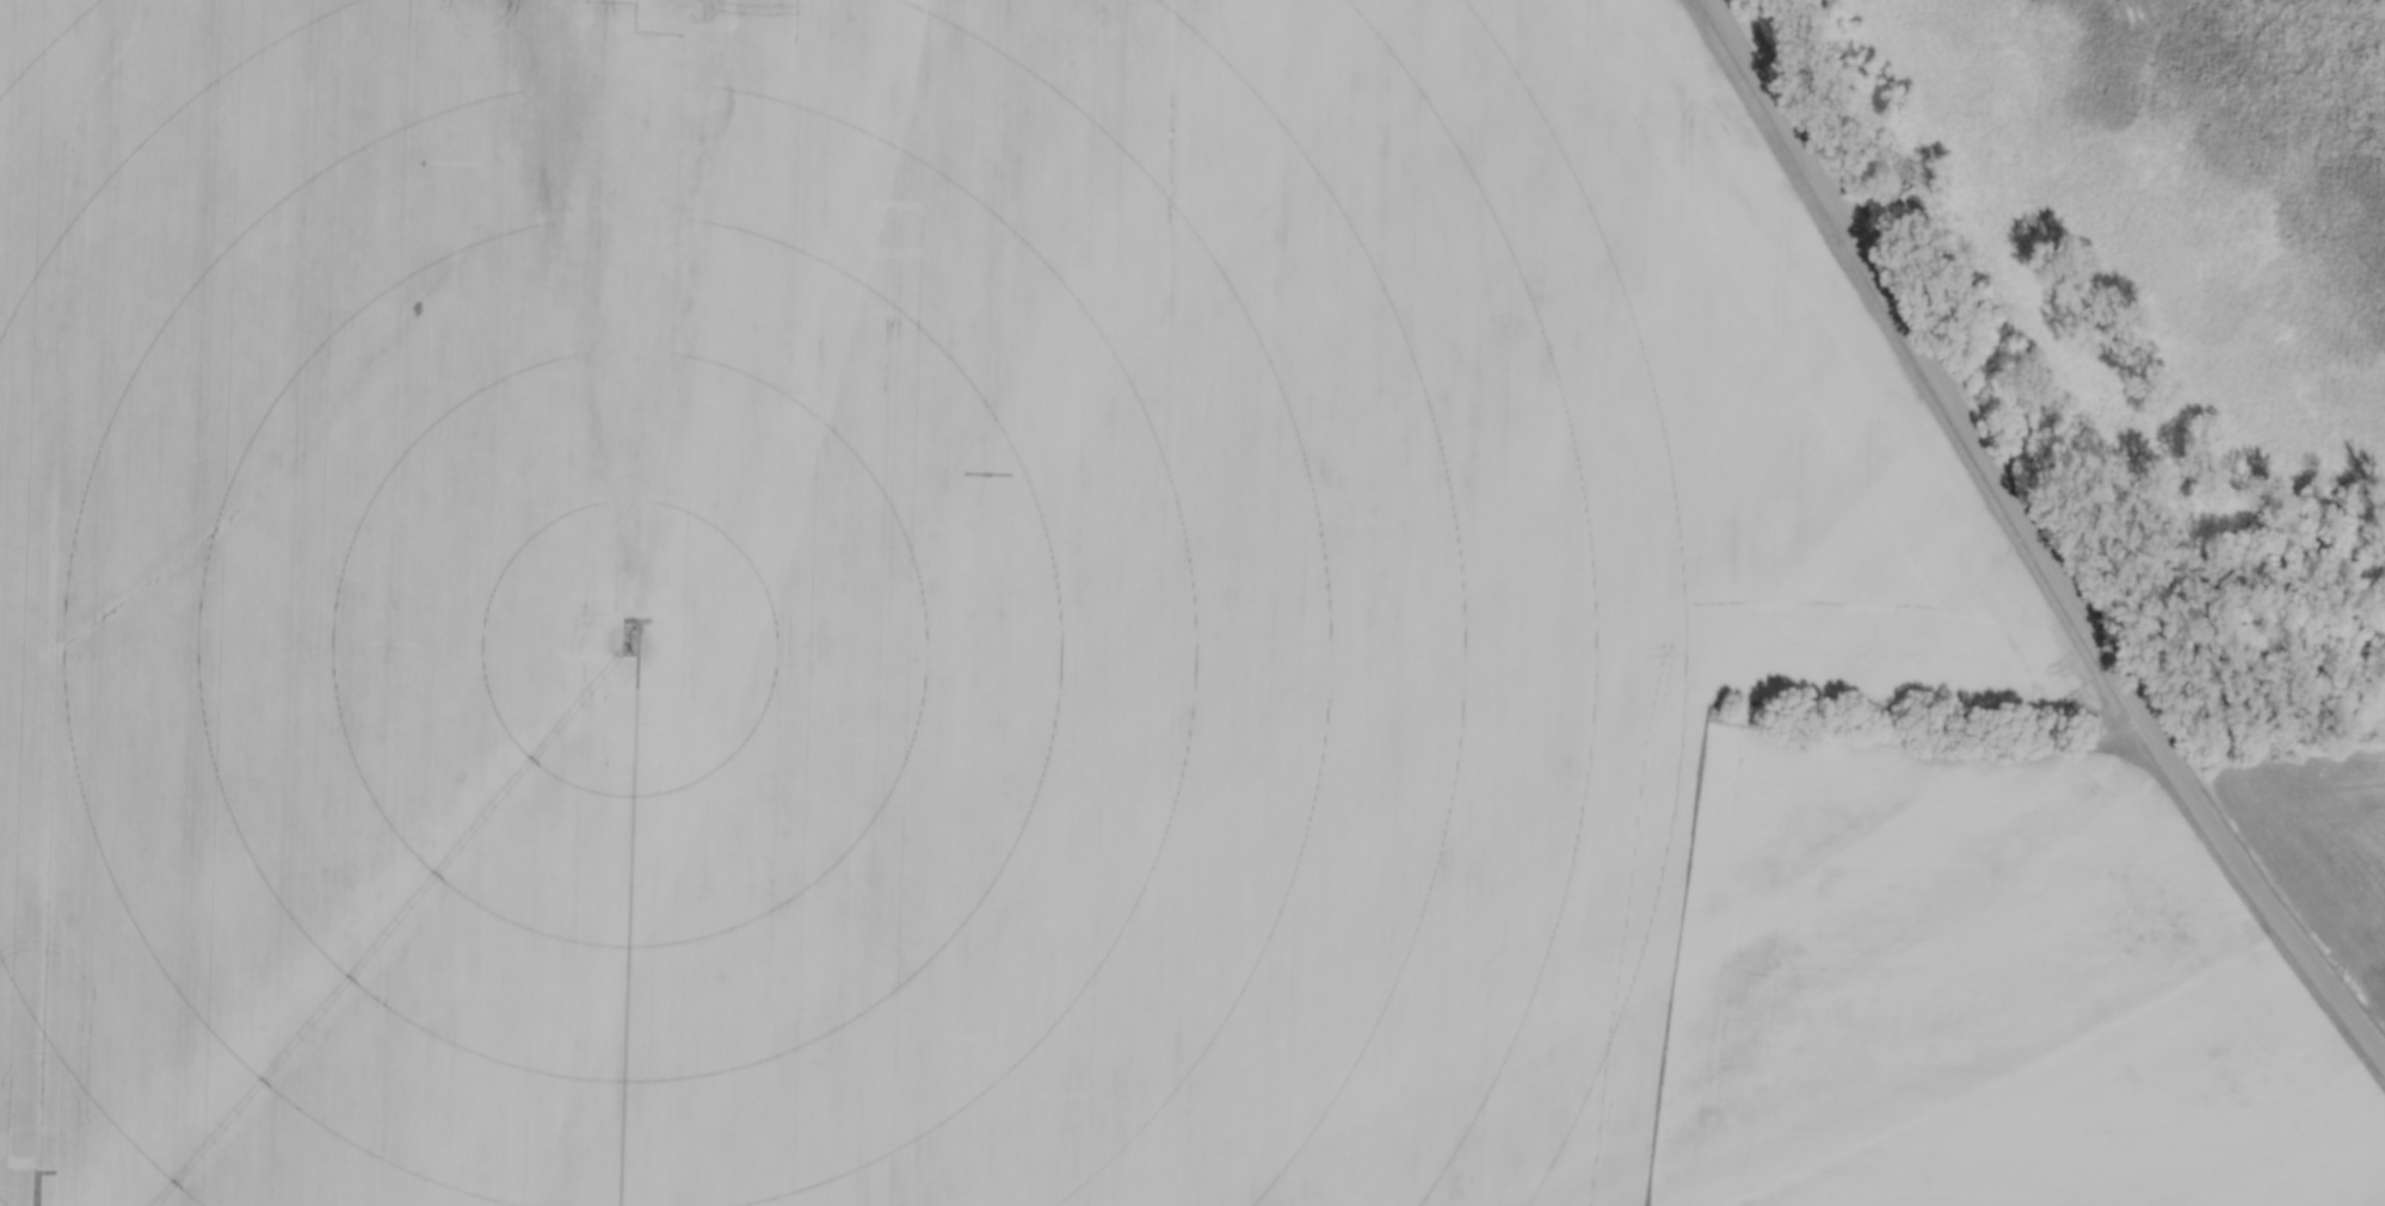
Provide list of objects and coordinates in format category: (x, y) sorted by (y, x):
road: (2033, 538)

